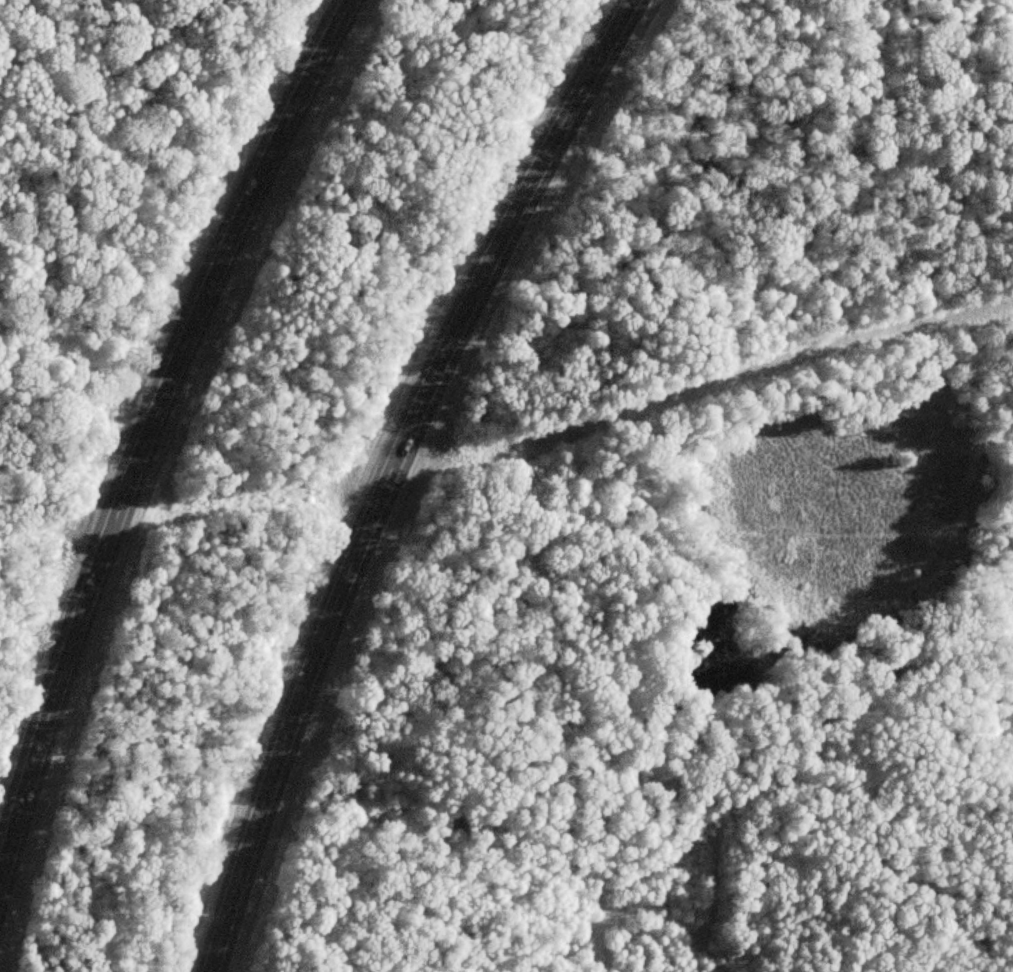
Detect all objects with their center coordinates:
road: (987, 249)
road: (138, 384)
road: (365, 471)

